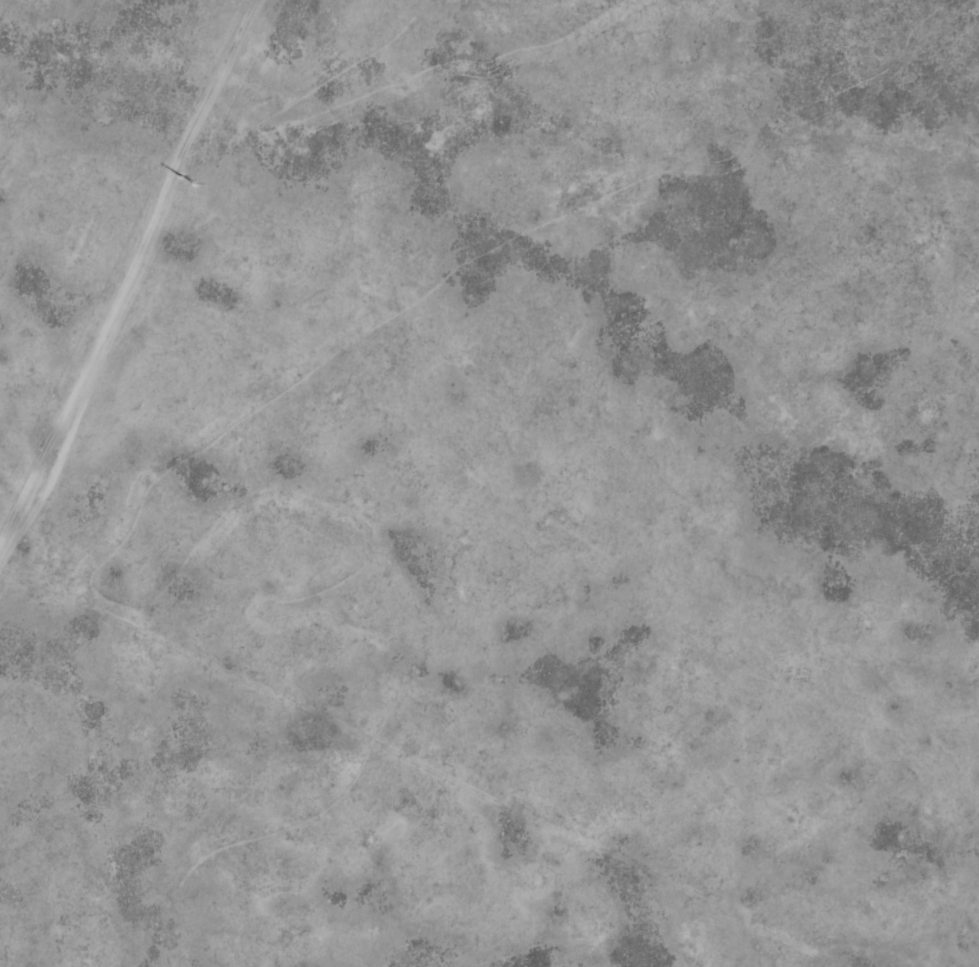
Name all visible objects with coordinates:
power tower: (187, 178)
road: (489, 608)

